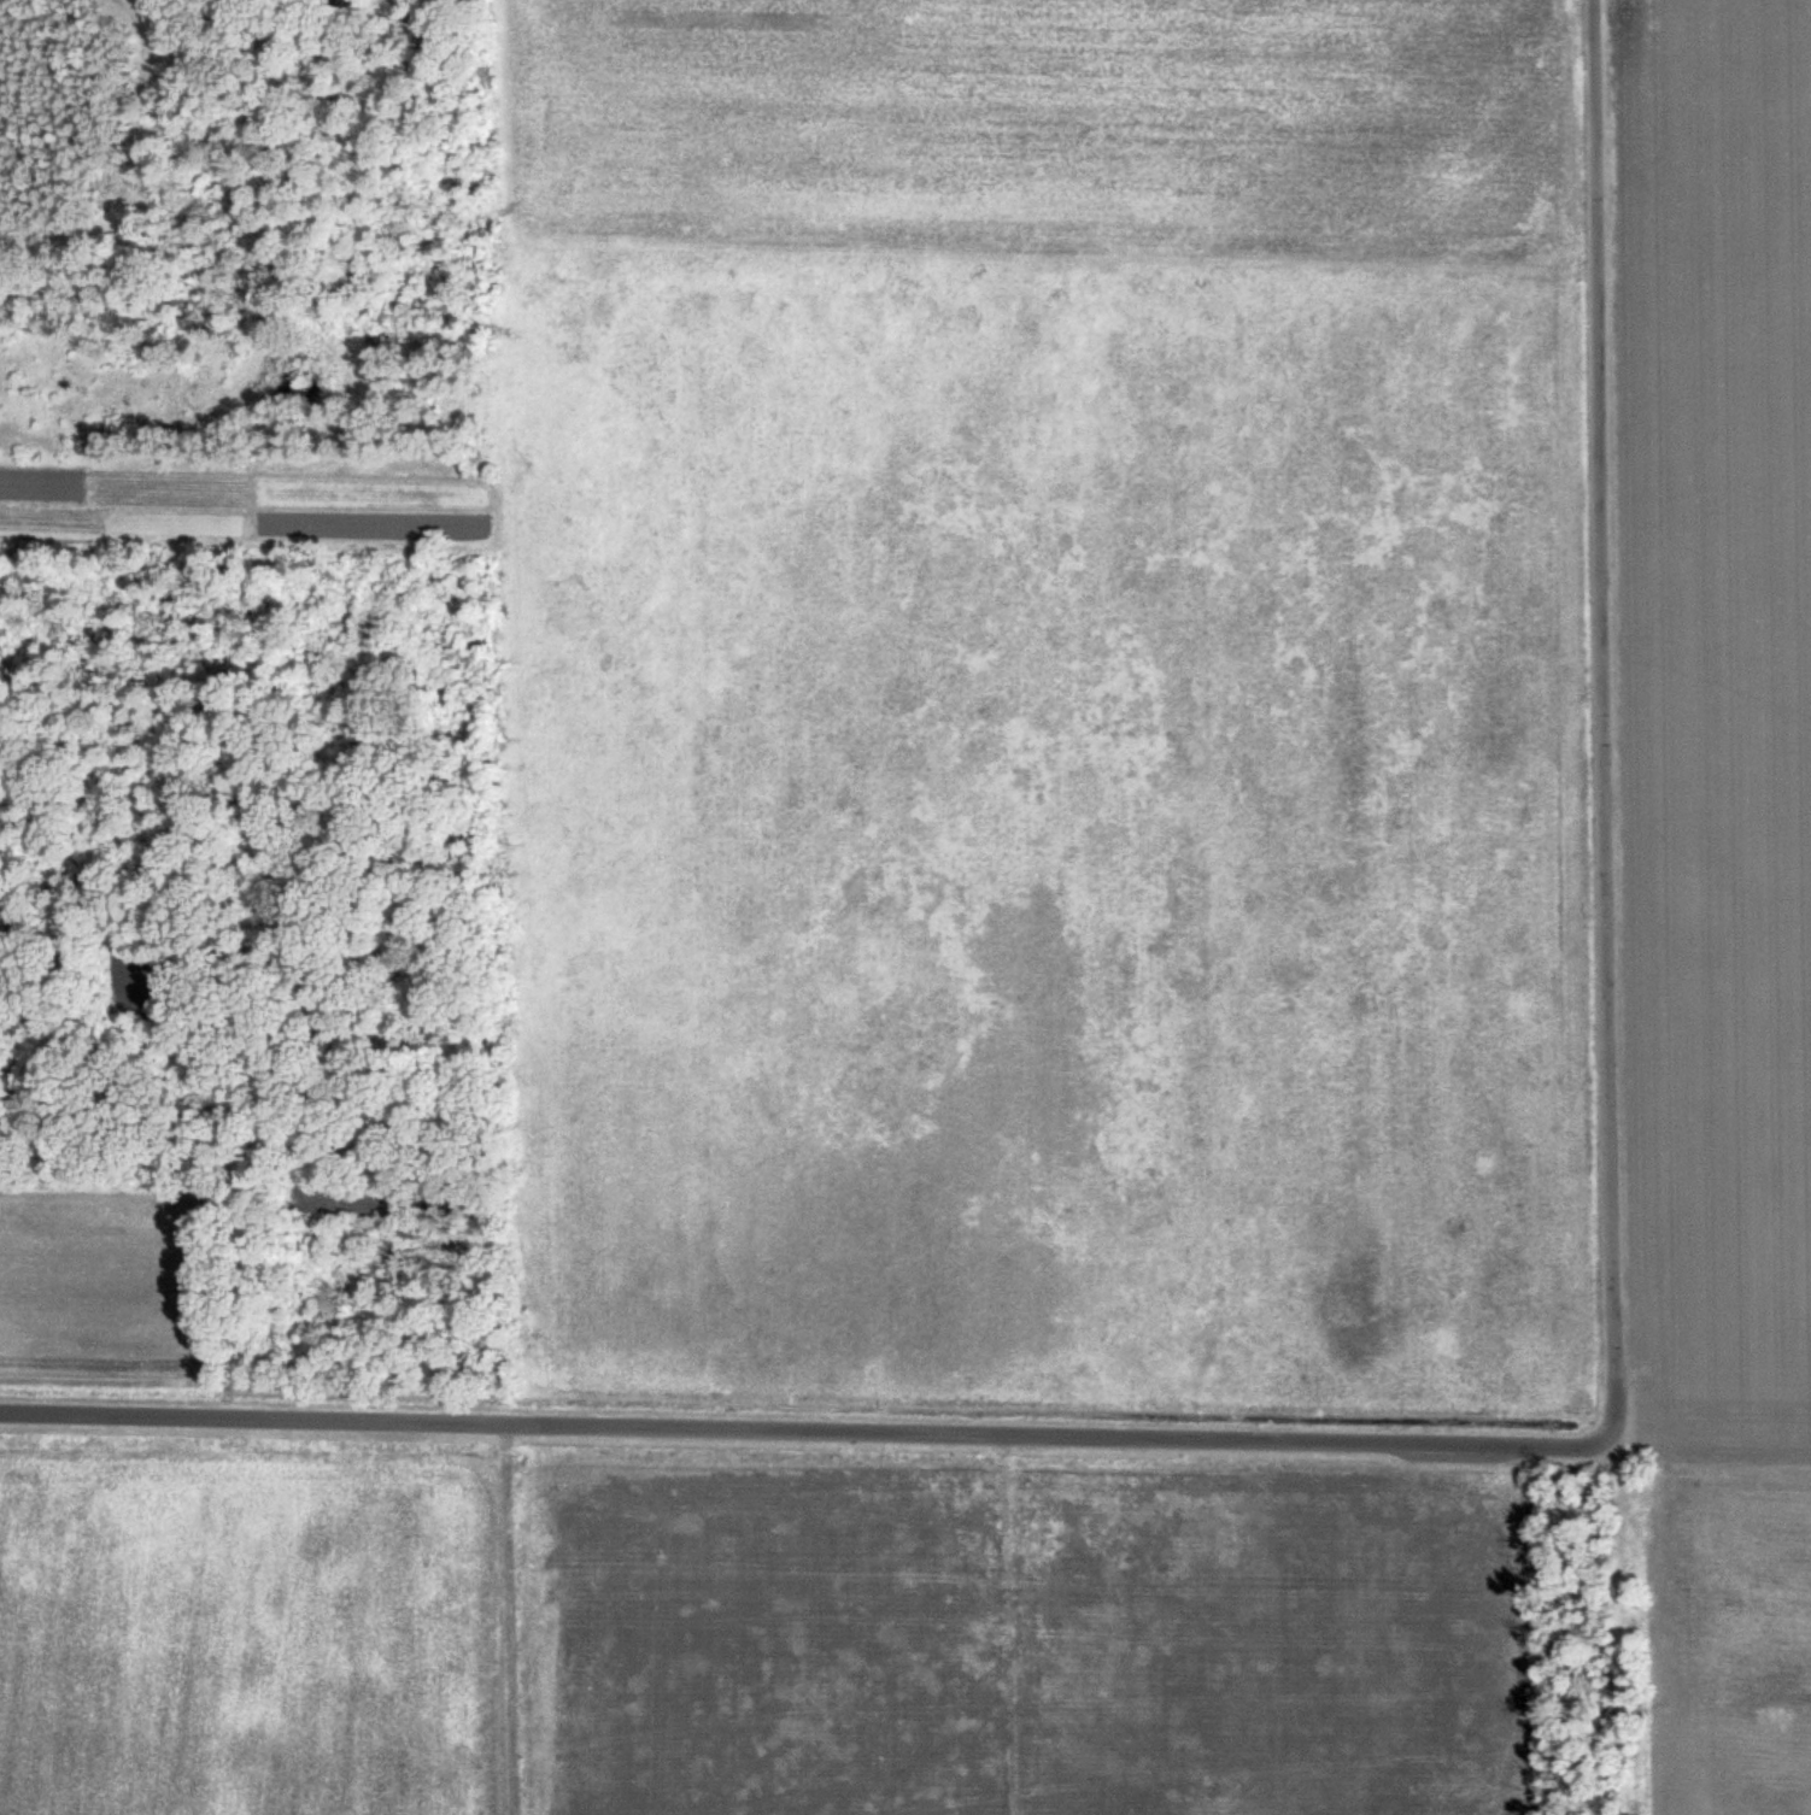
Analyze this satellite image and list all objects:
road: (1604, 718)
road: (805, 1427)
road: (1622, 1623)

